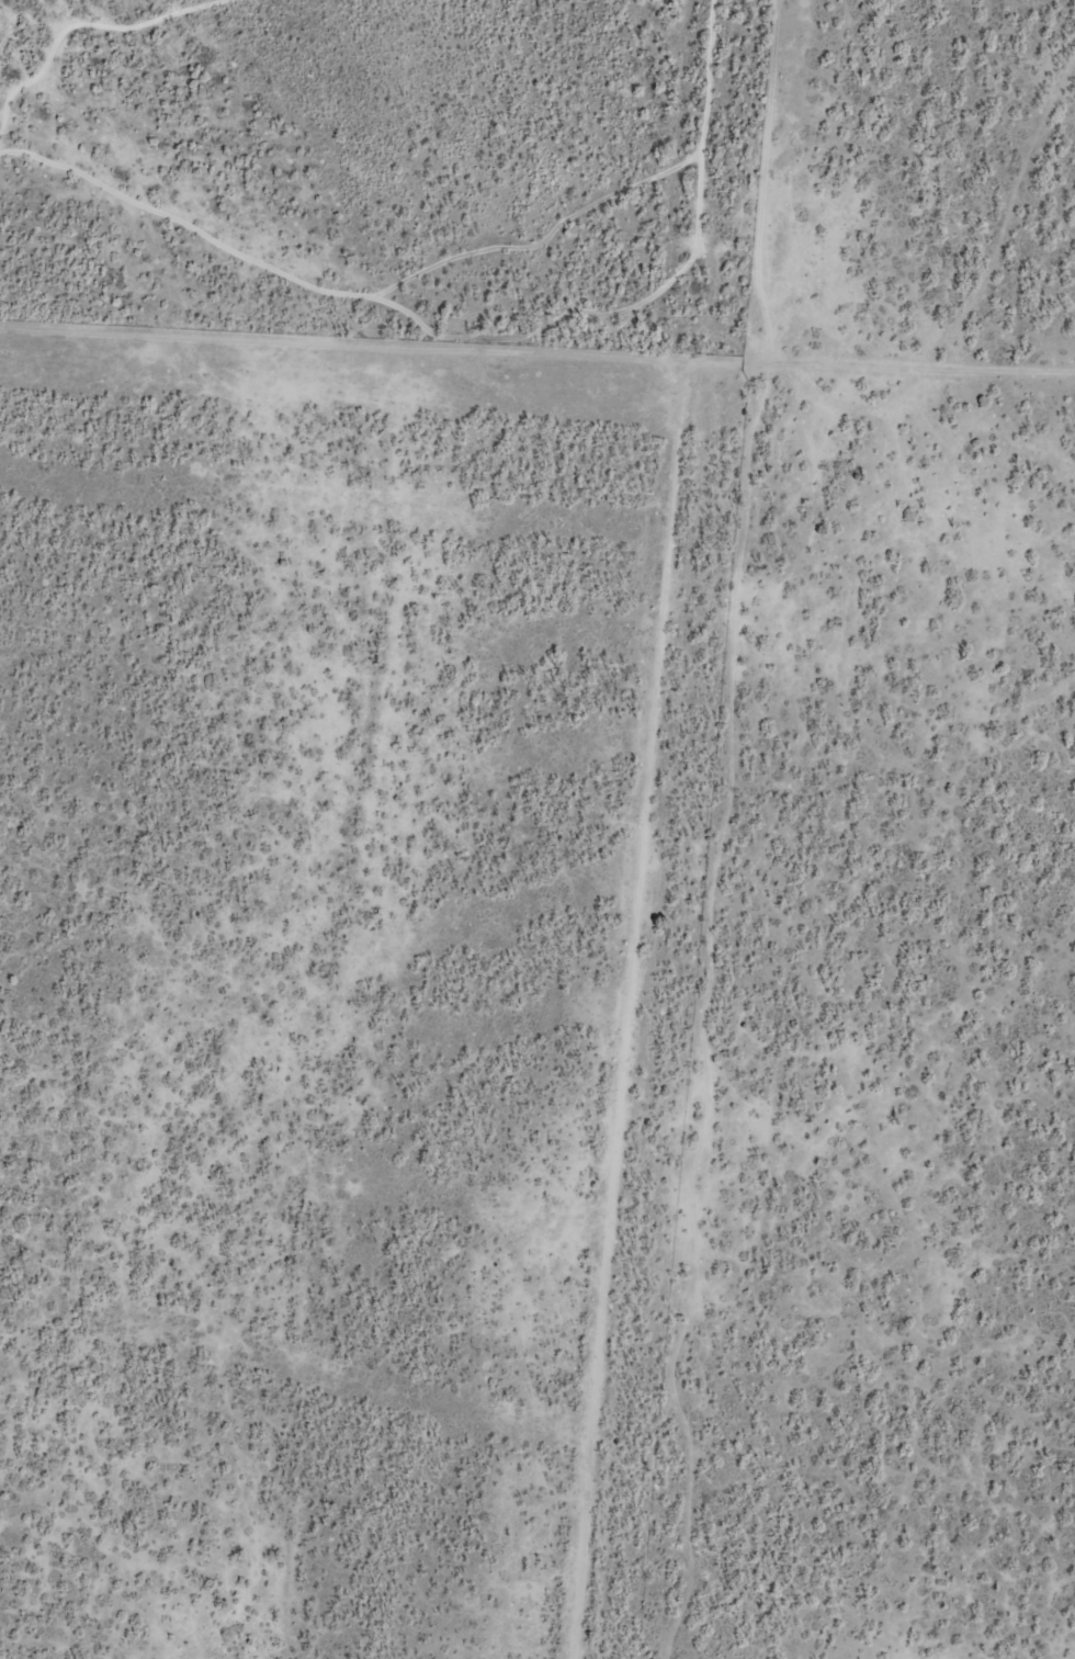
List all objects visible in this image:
road: (760, 181)
road: (634, 356)
railway: (641, 830)

